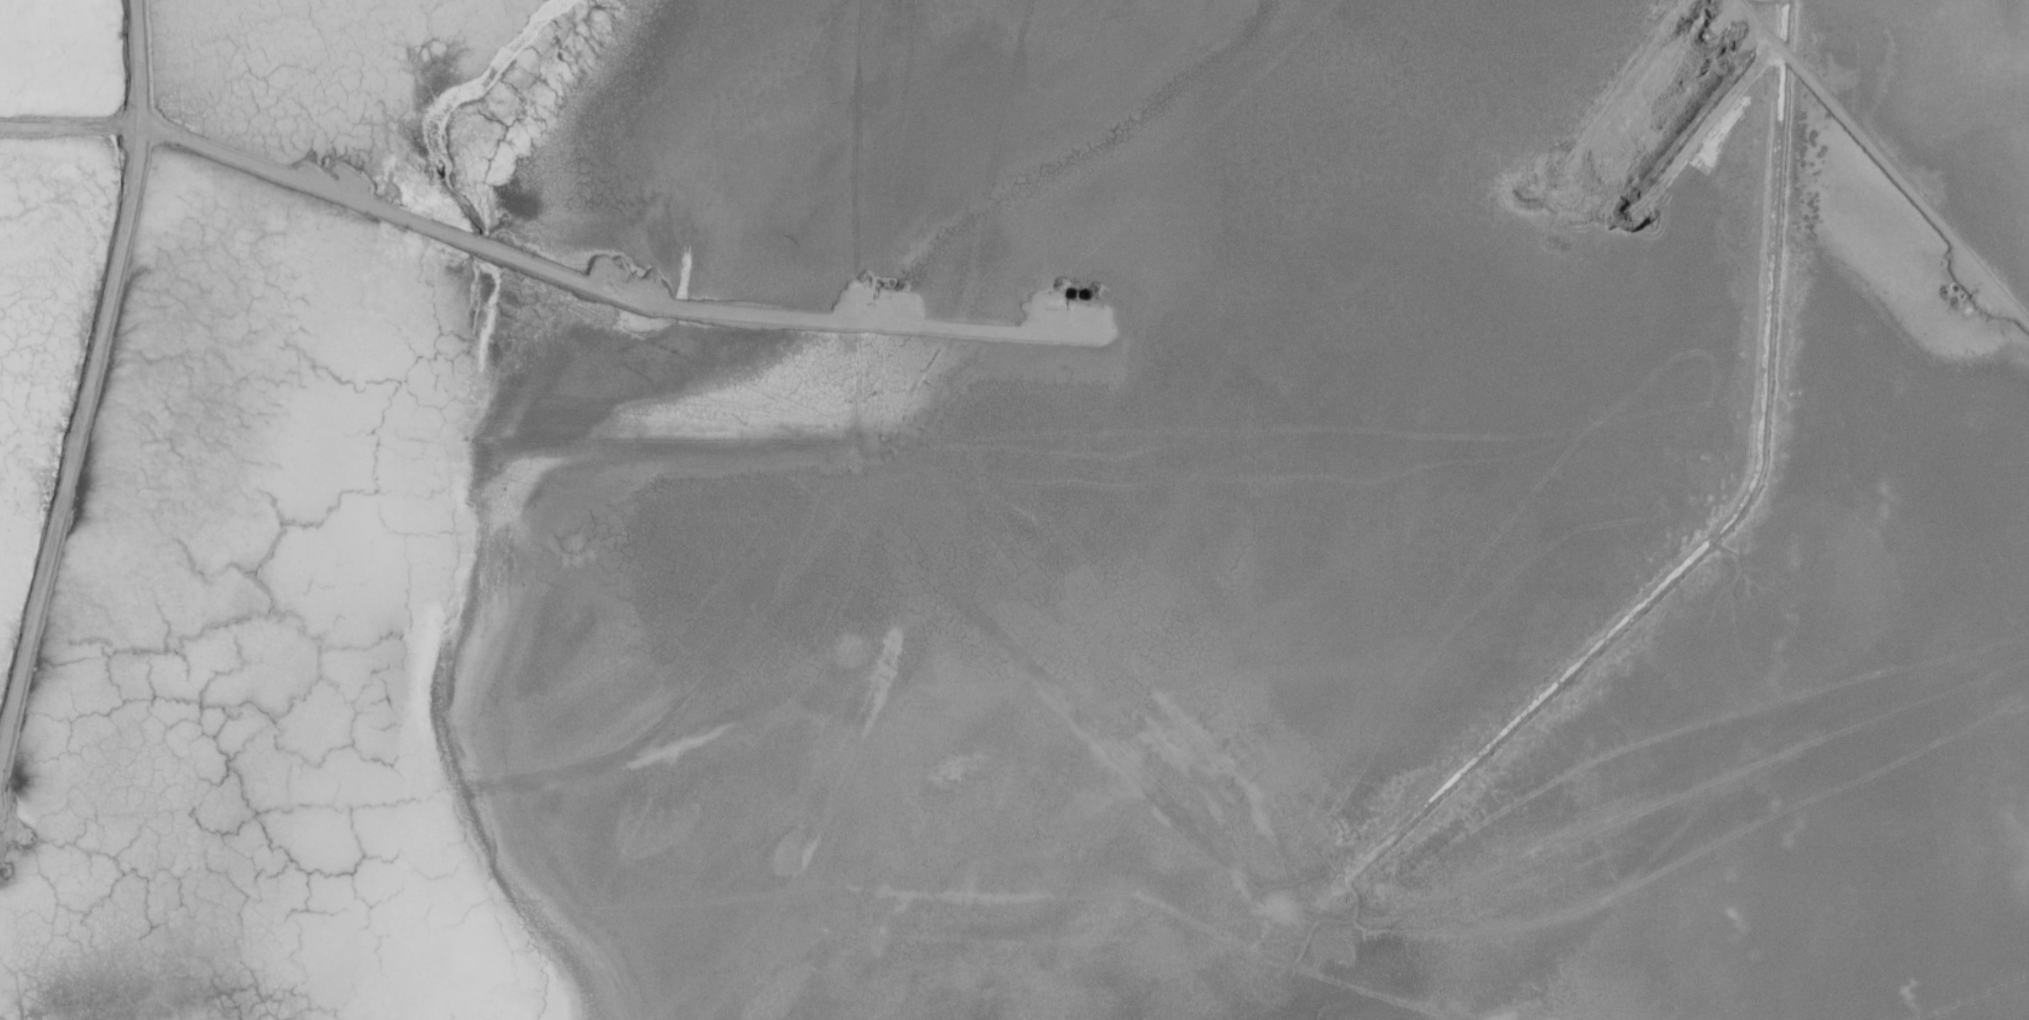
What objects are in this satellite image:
quarry: (485, 420)

